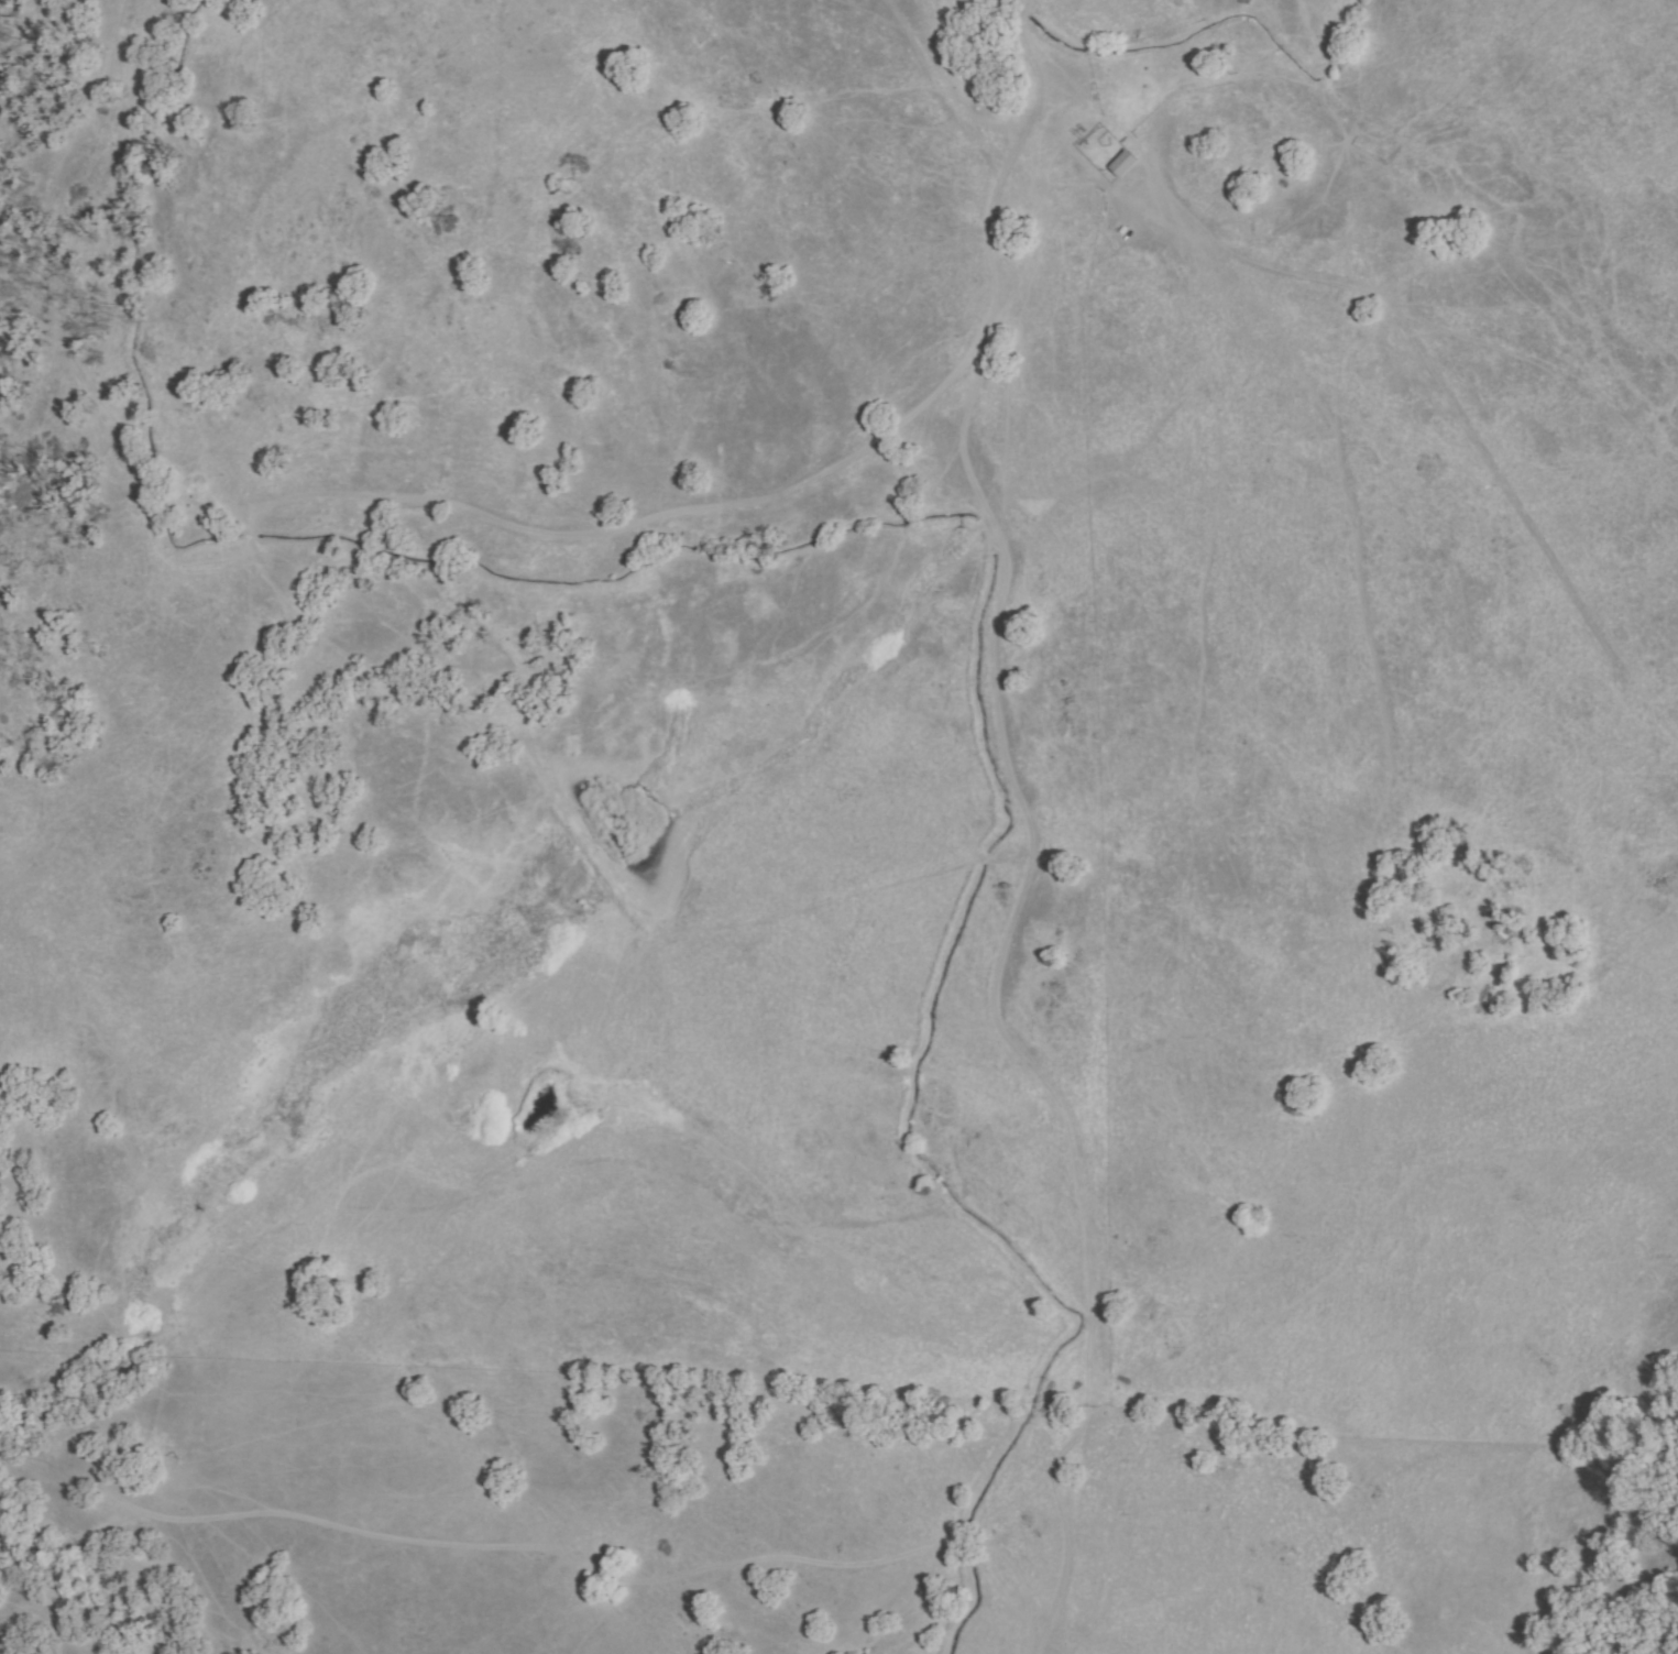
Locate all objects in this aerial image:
building: (1125, 163)
road: (998, 168)

